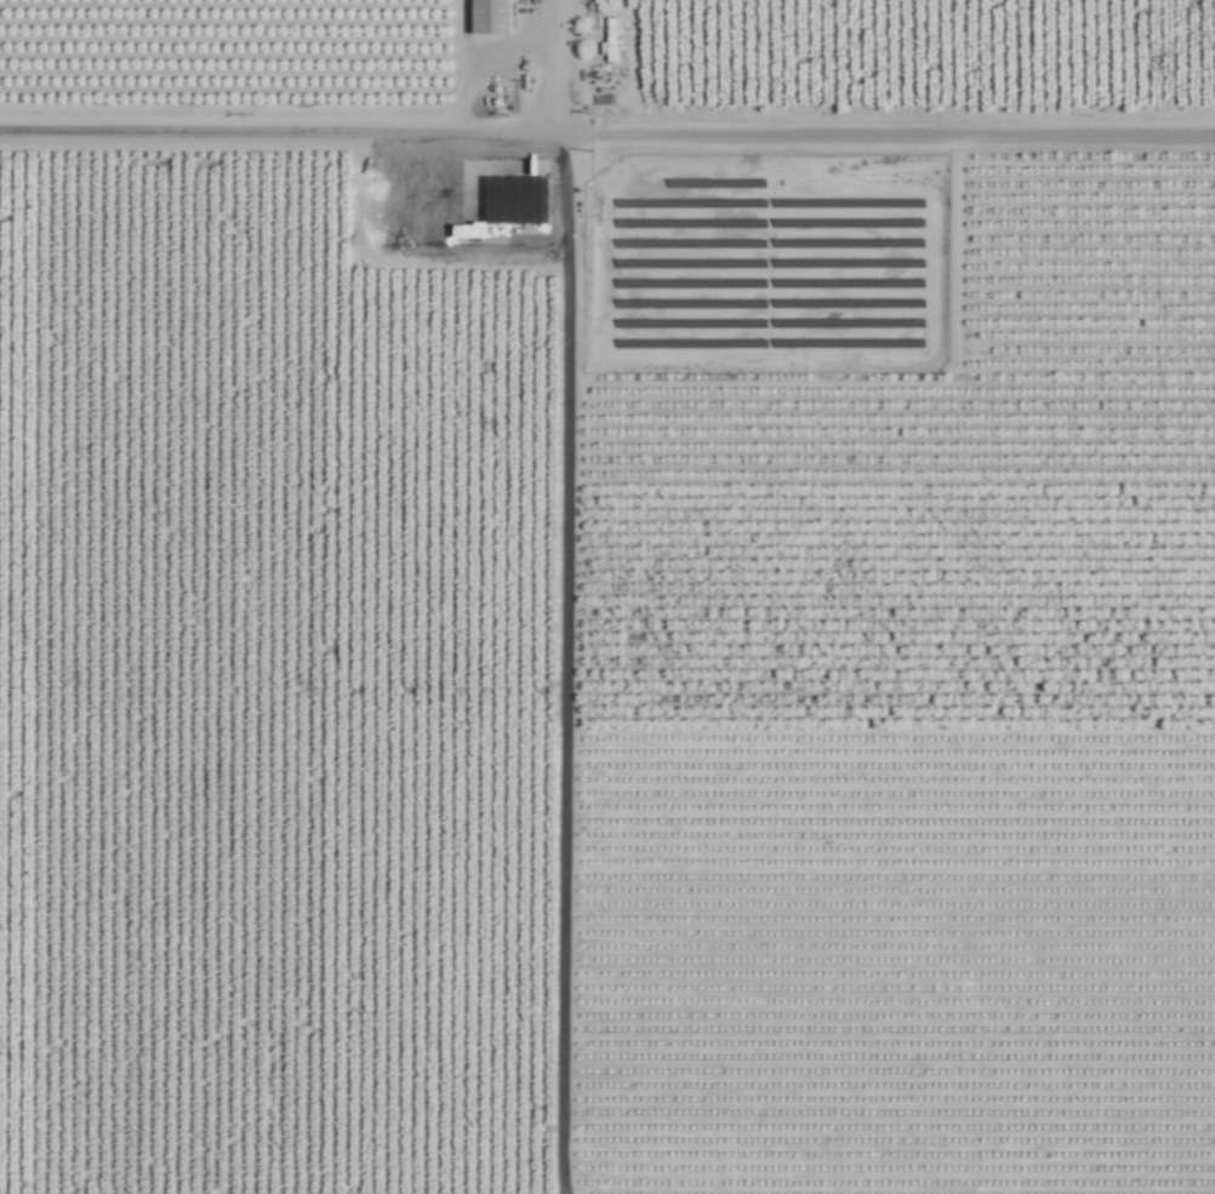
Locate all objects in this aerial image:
road: (496, 74)
road: (607, 148)
crop: (607, 596)

